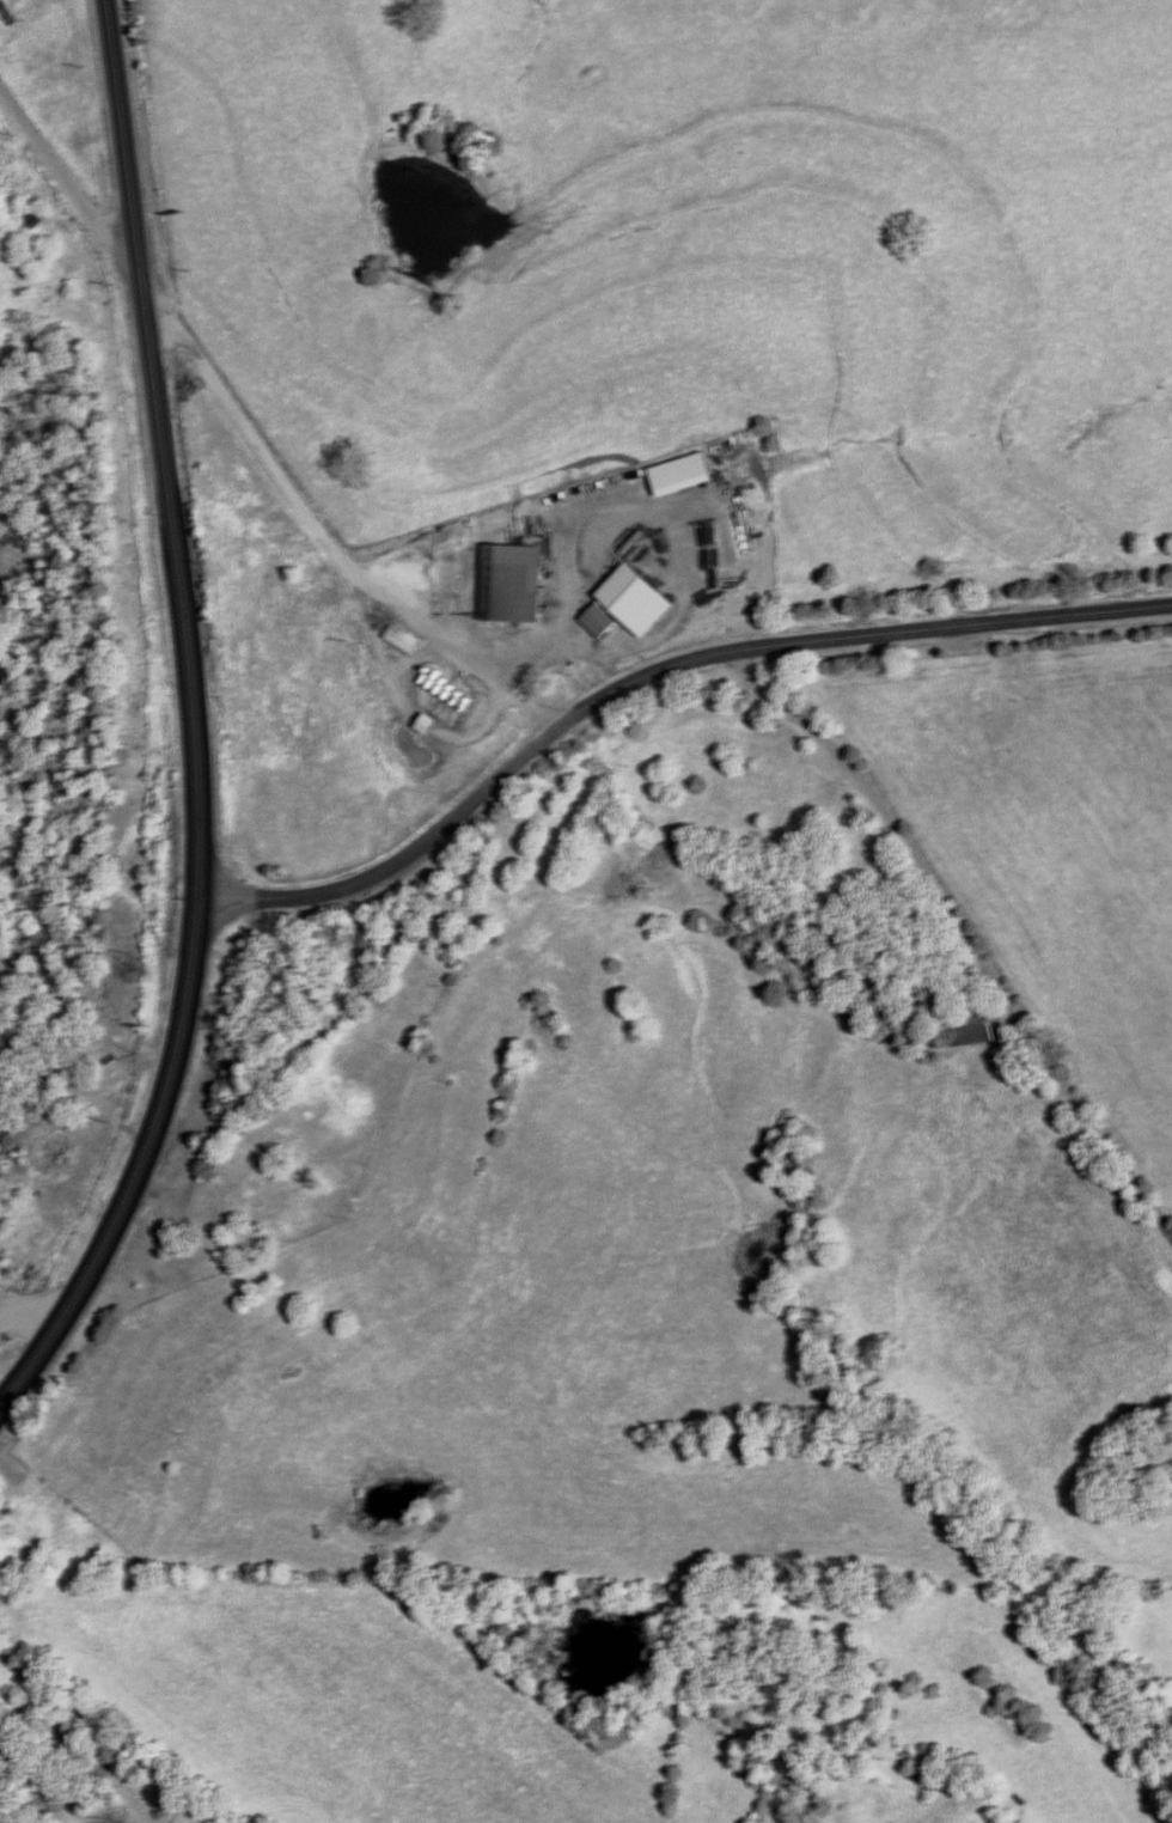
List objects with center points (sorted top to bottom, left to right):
road: (68, 185)
building: (37, 218)
road: (177, 557)
building: (509, 592)
building: (622, 599)
building: (402, 639)
road: (655, 676)
road: (964, 932)
building: (966, 1025)
building: (240, 1184)
road: (94, 1269)
road: (23, 1671)

